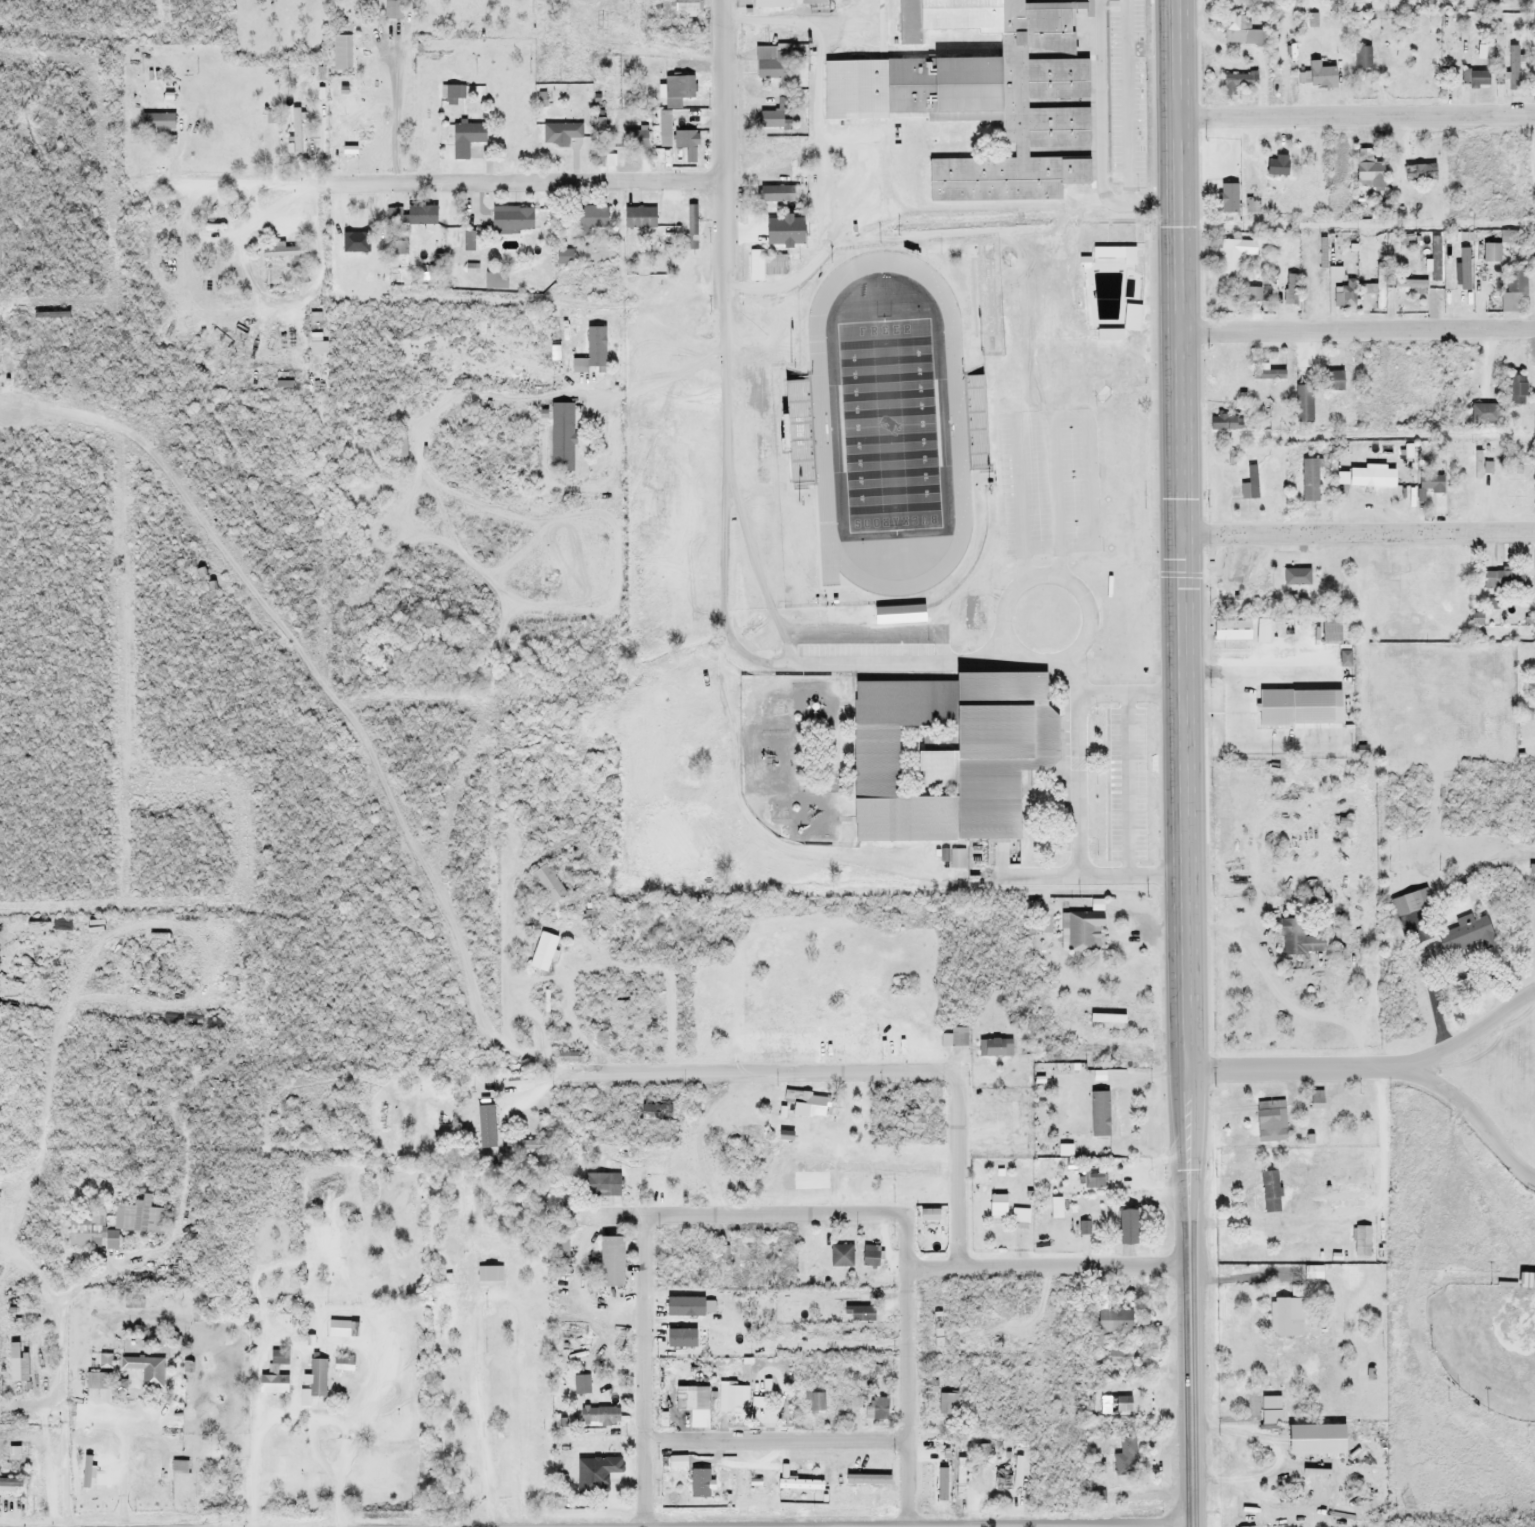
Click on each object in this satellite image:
building: (768, 3)
building: (686, 5)
building: (391, 9)
building: (1533, 20)
building: (1239, 30)
building: (1361, 58)
building: (771, 62)
building: (1318, 76)
building: (1474, 78)
building: (1510, 78)
building: (1237, 82)
building: (677, 90)
building: (449, 91)
building: (979, 93)
road: (1357, 114)
building: (774, 117)
building: (156, 122)
building: (295, 130)
building: (353, 130)
building: (560, 133)
building: (465, 139)
building: (635, 139)
road: (721, 143)
building: (686, 144)
building: (774, 156)
building: (1276, 165)
building: (1419, 172)
building: (1368, 174)
road: (447, 181)
building: (774, 194)
building: (1226, 198)
building: (1251, 205)
building: (420, 215)
building: (638, 218)
building: (511, 219)
building: (589, 219)
building: (777, 227)
building: (354, 232)
building: (1509, 237)
building: (468, 240)
building: (396, 248)
building: (283, 251)
building: (946, 254)
building: (1232, 254)
building: (563, 257)
building: (755, 265)
building: (494, 281)
building: (1409, 284)
building: (1534, 286)
building: (1512, 287)
building: (1378, 288)
building: (1290, 290)
building: (1319, 294)
building: (1345, 294)
building: (1453, 295)
building: (1130, 318)
road: (1358, 330)
building: (585, 362)
building: (1271, 375)
building: (1332, 381)
building: (283, 384)
building: (1515, 390)
building: (1005, 402)
building: (1303, 404)
building: (1484, 413)
building: (779, 417)
track: (882, 420)
park: (884, 423)
building: (561, 437)
building: (401, 443)
building: (802, 458)
building: (1485, 466)
building: (1370, 478)
building: (1252, 480)
building: (1309, 481)
building: (1428, 485)
road: (1359, 533)
building: (1297, 574)
building: (1502, 580)
road: (725, 609)
building: (894, 613)
building: (1229, 630)
building: (1327, 630)
road: (1073, 724)
building: (944, 755)
road: (1184, 762)
building: (955, 859)
road: (1128, 872)
building: (1530, 875)
building: (546, 884)
building: (1410, 903)
building: (548, 919)
building: (1080, 930)
building: (1465, 936)
building: (1299, 939)
building: (543, 953)
building: (1124, 979)
building: (958, 1037)
road: (1468, 1037)
building: (994, 1047)
road: (1290, 1068)
road: (771, 1072)
building: (1315, 1099)
building: (805, 1104)
building: (998, 1109)
building: (650, 1111)
road: (1472, 1113)
building: (1098, 1114)
building: (912, 1120)
building: (1270, 1121)
road: (1380, 1135)
building: (526, 1145)
road: (955, 1171)
building: (1092, 1180)
building: (600, 1185)
building: (1268, 1192)
building: (996, 1205)
road: (776, 1214)
building: (1019, 1216)
building: (137, 1217)
building: (1123, 1228)
building: (83, 1237)
building: (1360, 1241)
building: (559, 1249)
building: (746, 1253)
building: (840, 1255)
building: (870, 1256)
building: (608, 1261)
road: (1047, 1267)
building: (1530, 1280)
building: (859, 1313)
building: (1285, 1316)
building: (1114, 1321)
building: (936, 1329)
park: (1484, 1343)
building: (1117, 1356)
building: (277, 1358)
building: (12, 1363)
building: (342, 1364)
road: (643, 1370)
building: (144, 1371)
building: (316, 1378)
building: (271, 1384)
building: (580, 1384)
road: (905, 1397)
building: (689, 1398)
building: (731, 1398)
building: (815, 1401)
building: (947, 1403)
building: (878, 1407)
building: (1269, 1410)
building: (598, 1415)
road: (774, 1441)
building: (1123, 1457)
building: (1002, 1477)
building: (850, 1480)
building: (601, 1482)
building: (821, 1486)
road: (917, 1525)
road: (1192, 1525)

